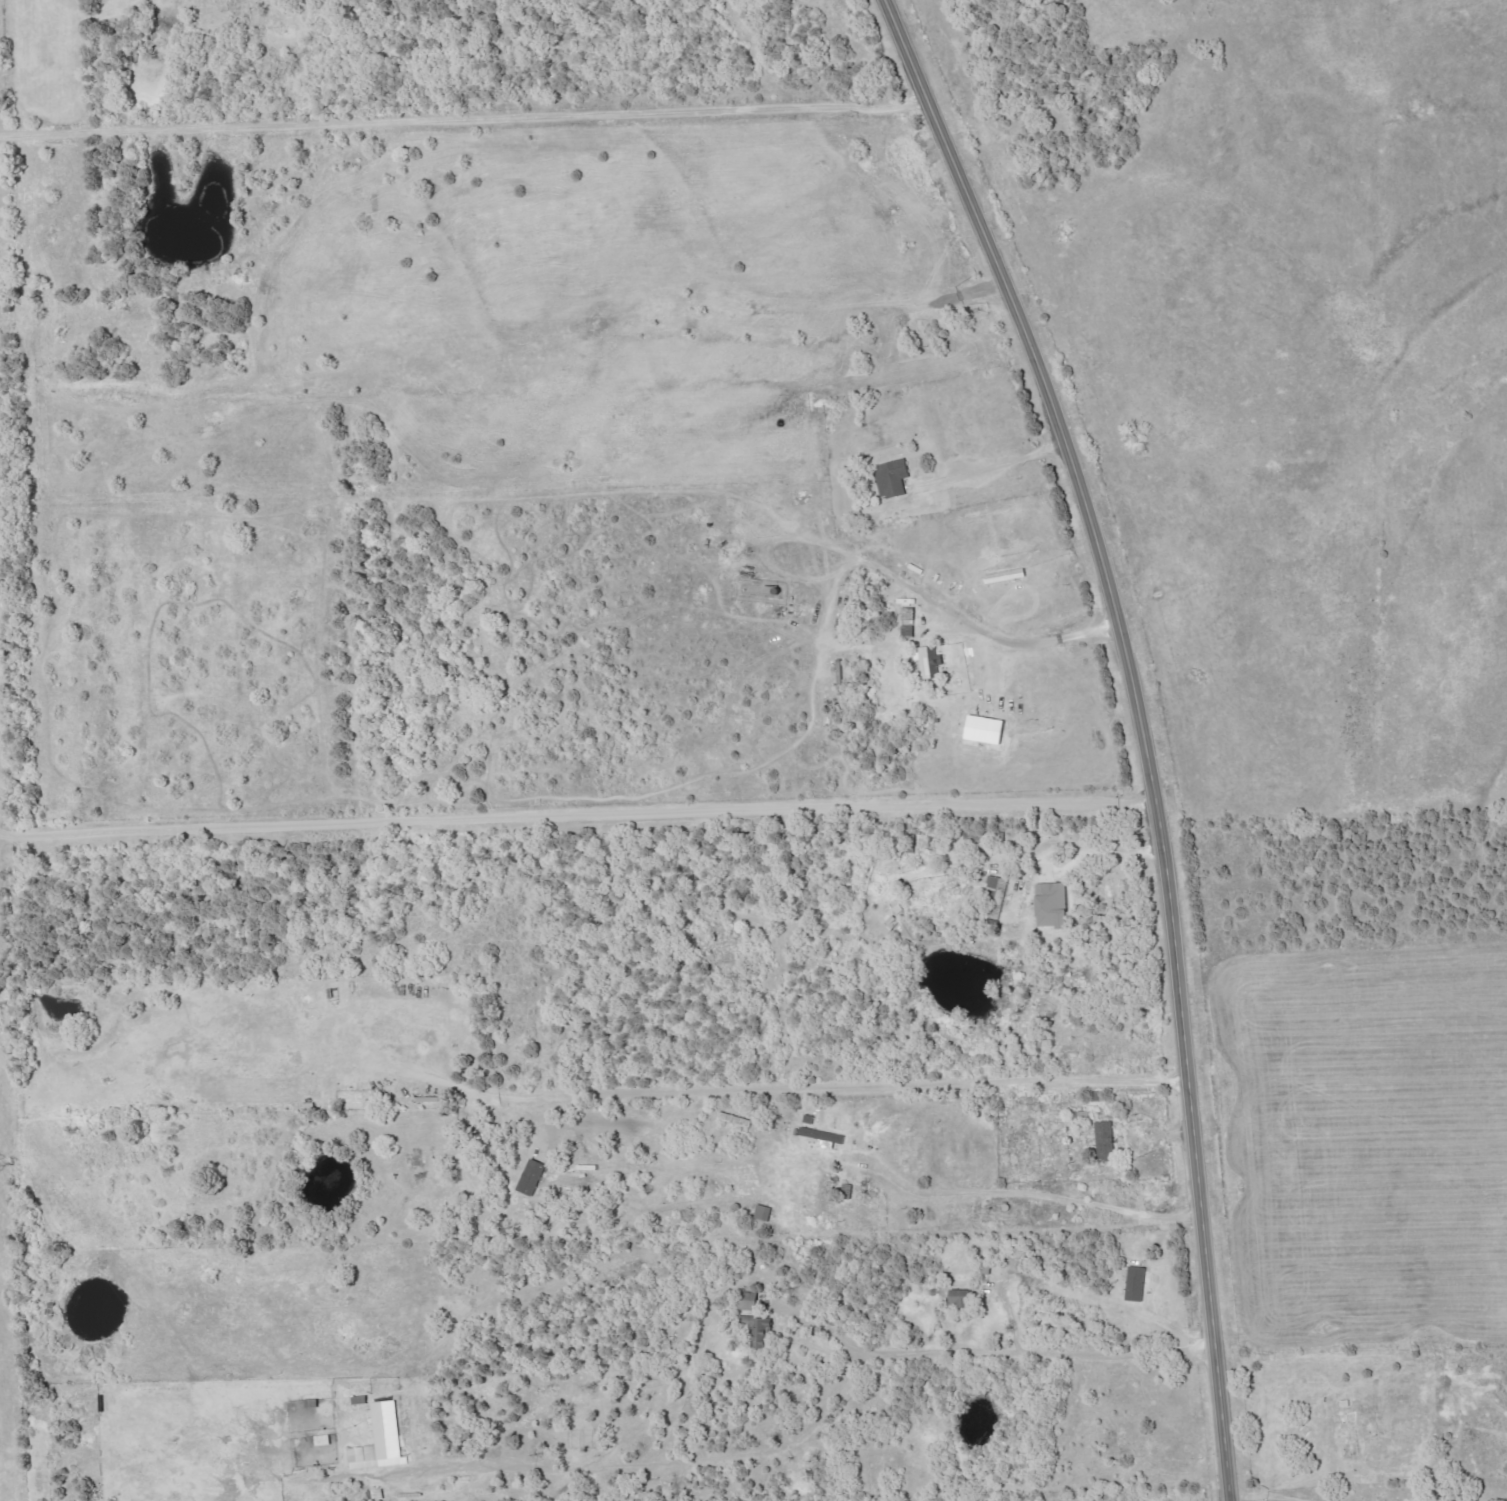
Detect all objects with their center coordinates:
road: (463, 118)
road: (993, 462)
building: (892, 477)
road: (890, 571)
building: (930, 662)
building: (987, 729)
road: (1141, 730)
road: (576, 794)
road: (1083, 846)
building: (997, 890)
building: (1053, 905)
road: (822, 1093)
building: (1105, 1138)
building: (532, 1176)
road: (1028, 1195)
building: (763, 1212)
building: (1137, 1283)
building: (962, 1297)
road: (819, 1408)
building: (382, 1440)
road: (1262, 1495)

